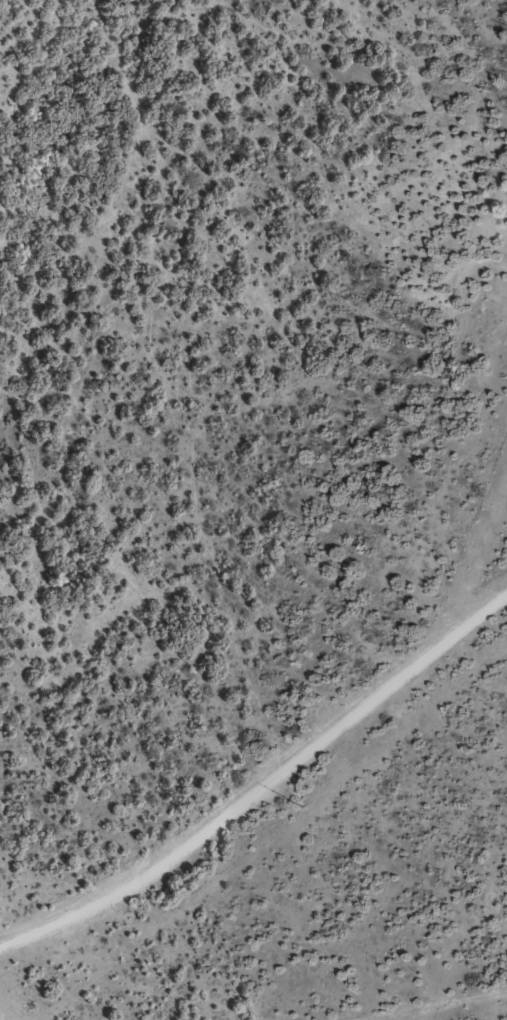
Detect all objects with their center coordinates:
power tower: (304, 807)

